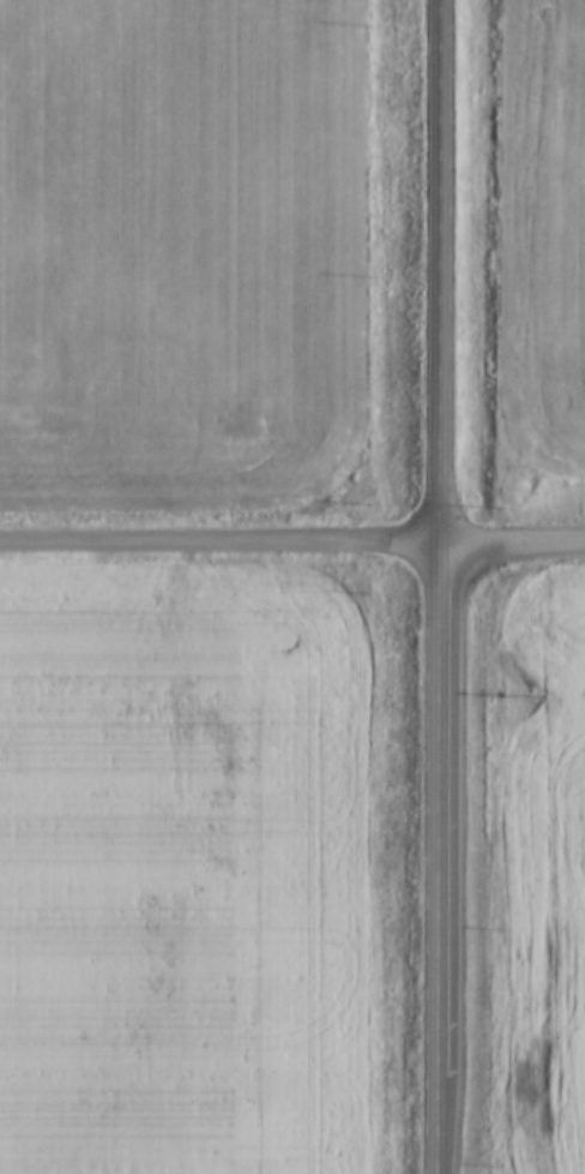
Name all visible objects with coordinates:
road: (215, 535)
road: (507, 538)
road: (433, 586)

